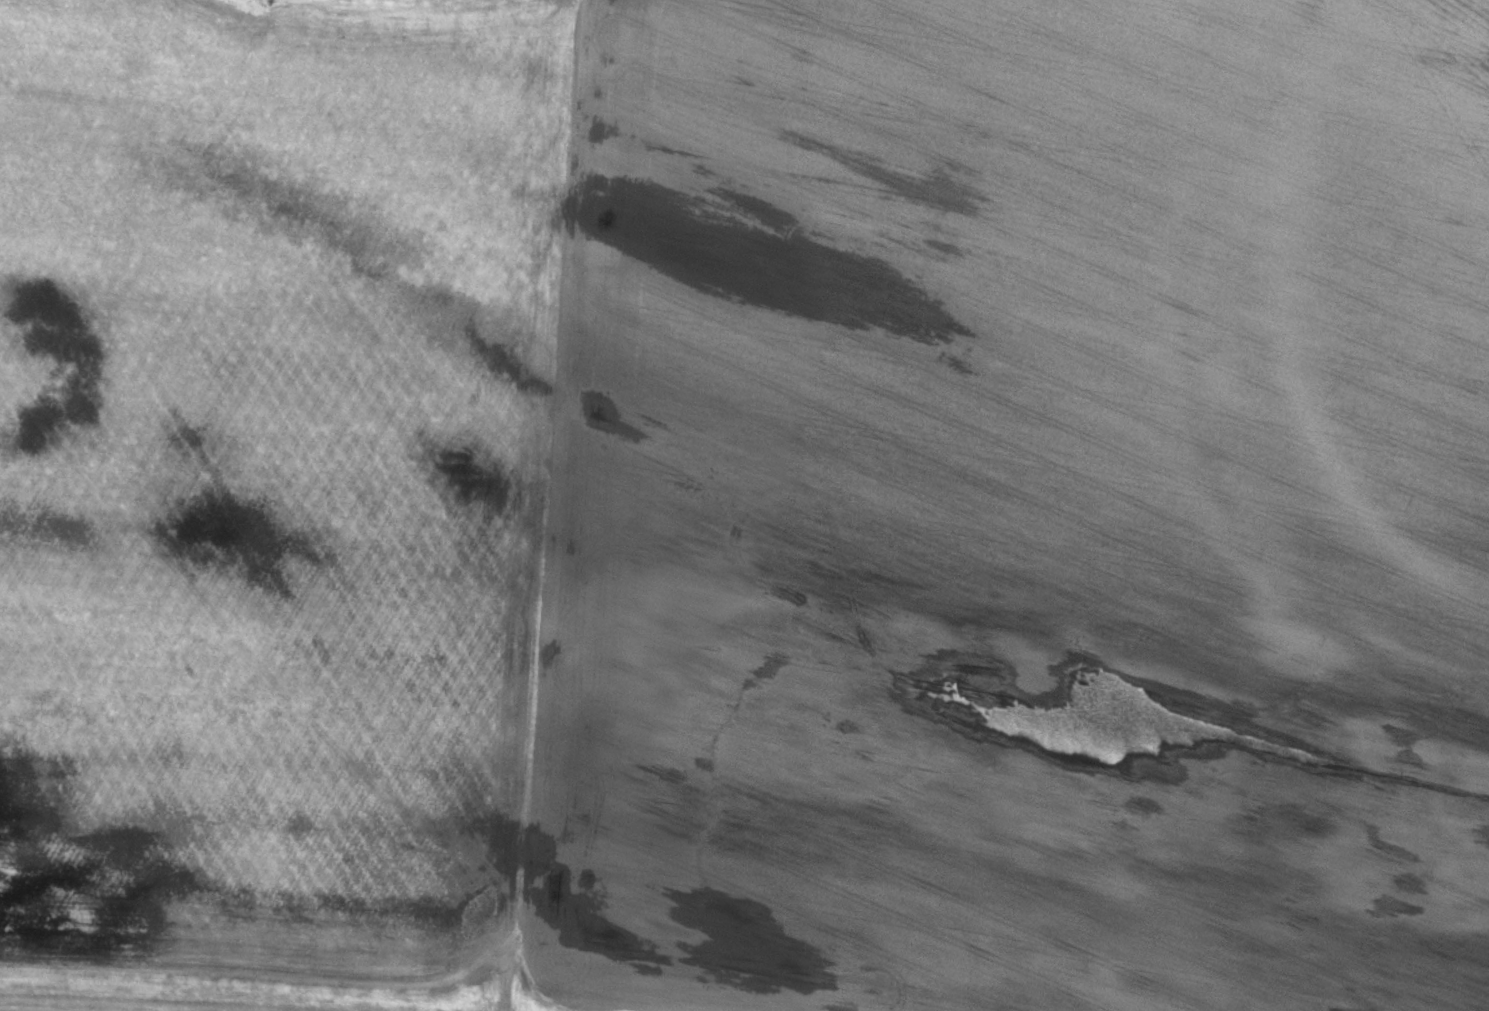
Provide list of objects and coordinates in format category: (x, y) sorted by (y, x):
crop: (1274, 183)
crop: (703, 527)

